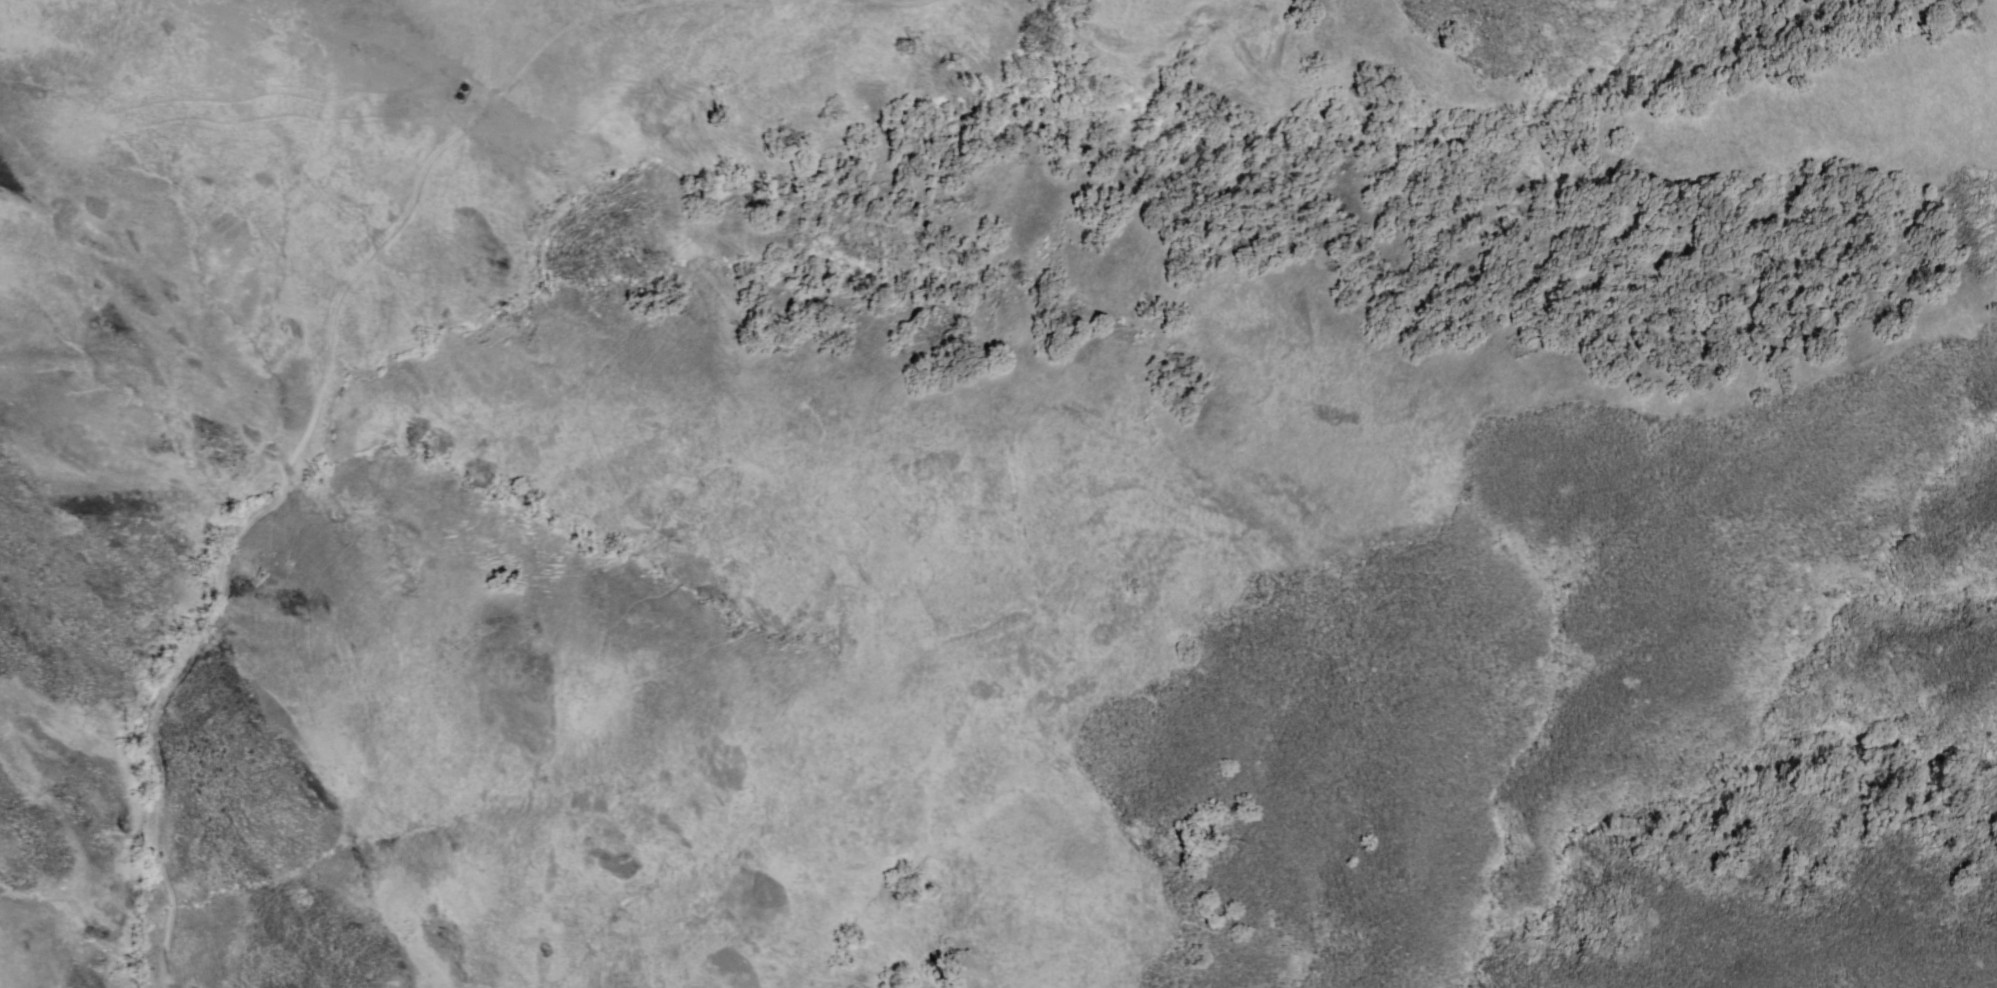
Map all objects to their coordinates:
road: (740, 3)
road: (902, 5)
road: (414, 185)

